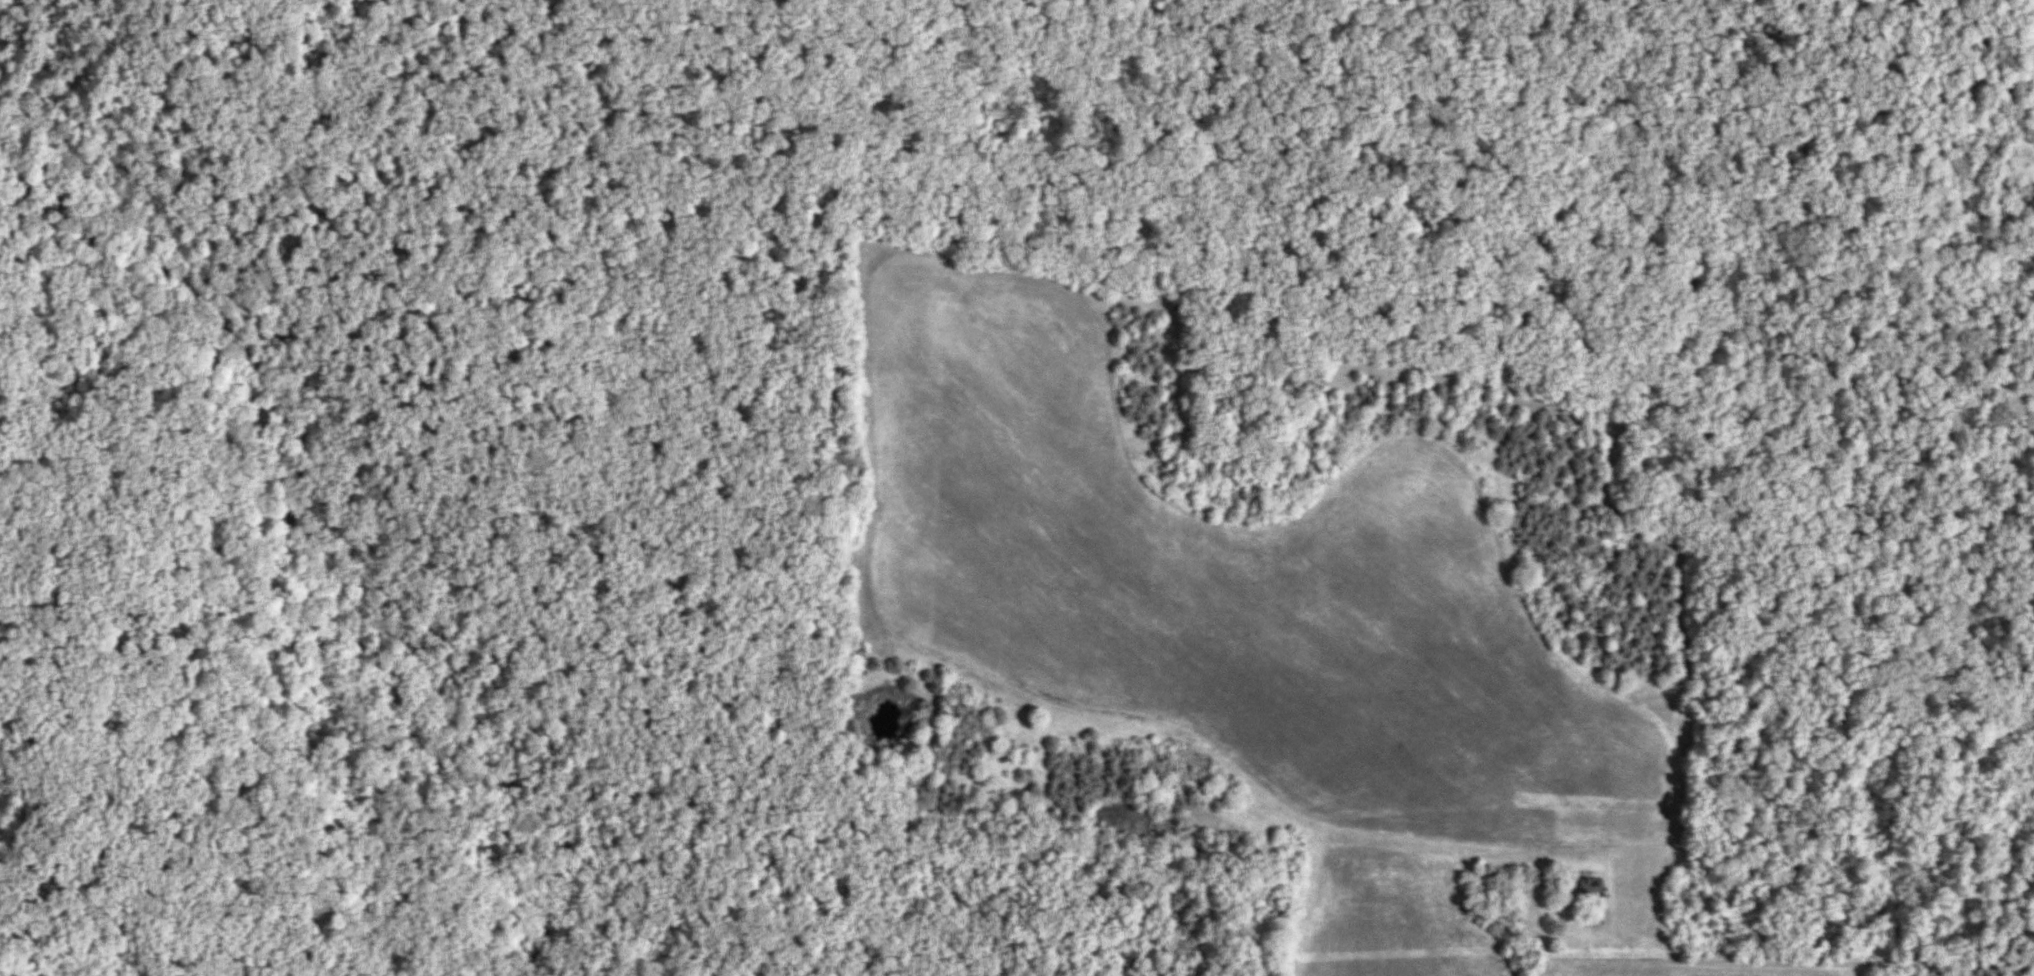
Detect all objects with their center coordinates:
building: (1588, 889)

